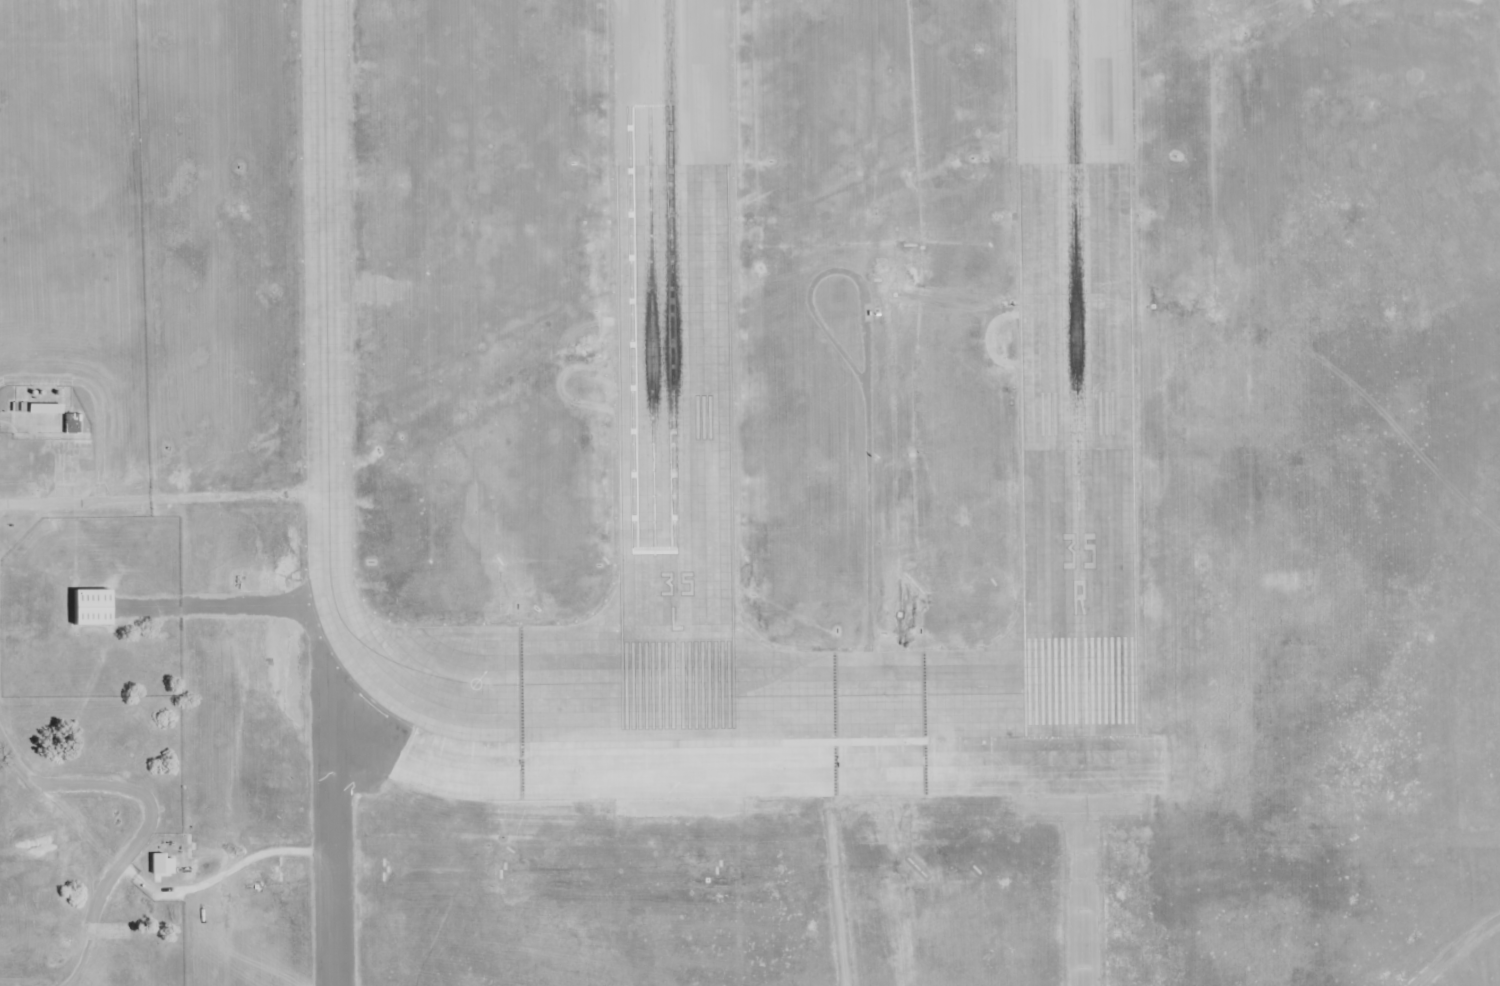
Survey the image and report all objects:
airport taxiway: (326, 330)
airport runway: (1076, 367)
airport runway: (673, 369)
airport: (742, 399)
building: (45, 409)
building: (70, 425)
road: (39, 505)
building: (91, 607)
airport taxiway: (518, 685)
airport taxiway: (878, 688)

